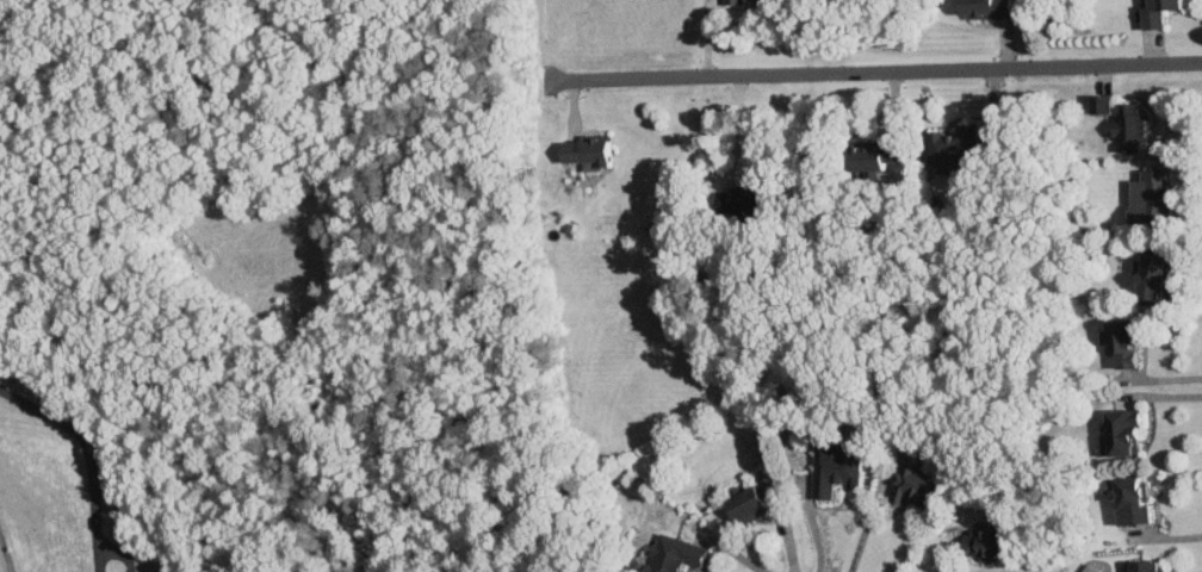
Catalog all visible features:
building: (731, 1)
building: (984, 10)
building: (1154, 13)
road: (878, 74)
building: (1097, 101)
building: (1123, 125)
building: (952, 144)
building: (584, 150)
building: (872, 154)
building: (738, 201)
building: (1147, 274)
building: (1119, 340)
building: (1117, 429)
road: (89, 454)
building: (831, 467)
building: (910, 483)
building: (1126, 497)
building: (744, 503)
road: (866, 527)
road: (814, 530)
road: (1178, 536)
building: (978, 543)
road: (730, 547)
road: (5, 551)
building: (671, 553)
road: (944, 557)
building: (1140, 565)

